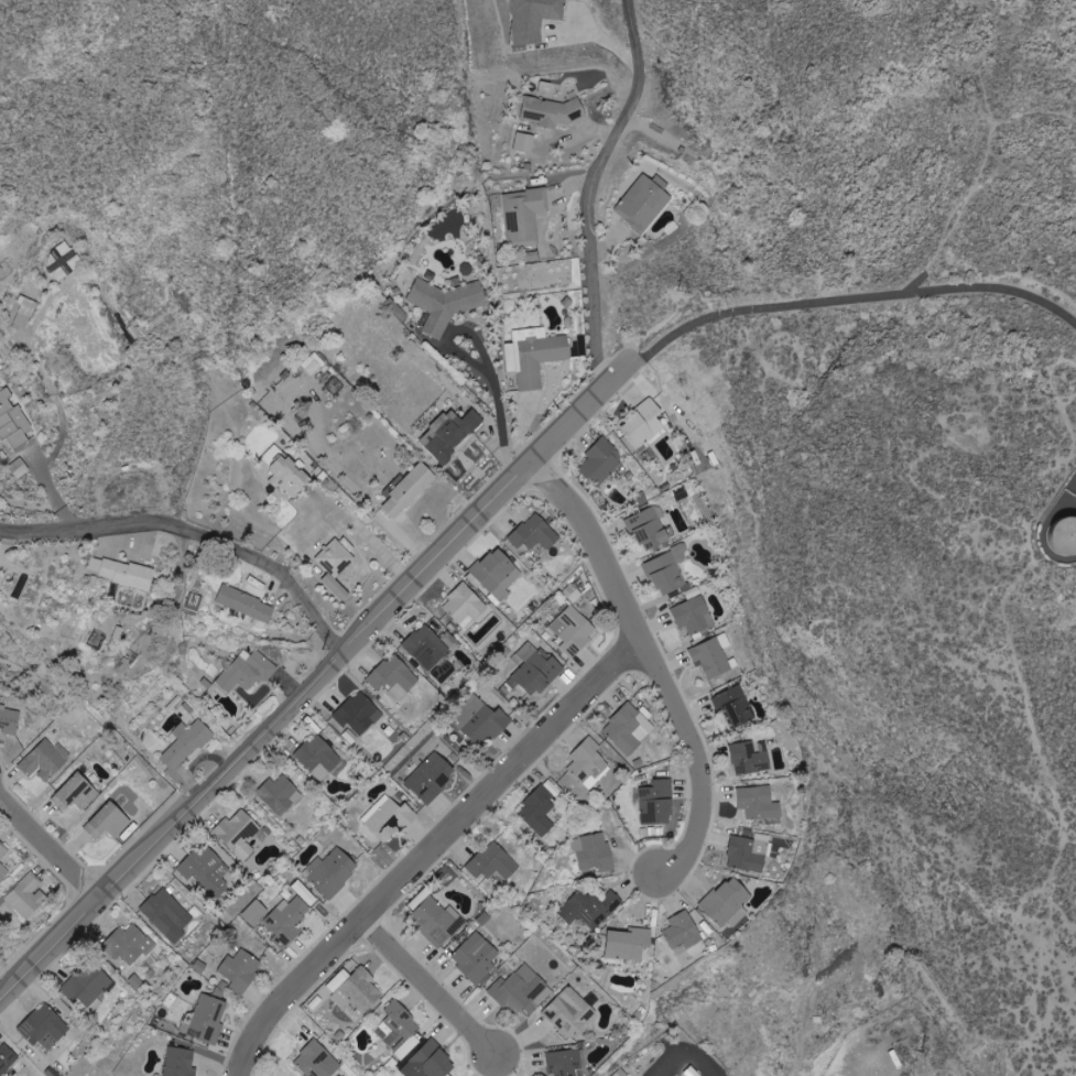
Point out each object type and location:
building: (535, 19)
building: (552, 111)
building: (525, 142)
road: (589, 187)
building: (644, 204)
building: (525, 216)
building: (532, 253)
building: (63, 261)
road: (854, 298)
building: (445, 303)
building: (24, 313)
building: (537, 355)
building: (314, 362)
road: (482, 365)
building: (13, 421)
building: (645, 423)
building: (450, 434)
building: (600, 463)
building: (20, 467)
building: (290, 476)
building: (410, 491)
road: (360, 528)
building: (650, 528)
road: (194, 531)
building: (535, 533)
building: (1044, 541)
storage tank: (1044, 541)
building: (336, 565)
building: (667, 568)
building: (124, 572)
building: (498, 574)
building: (26, 583)
building: (247, 604)
building: (195, 605)
building: (465, 605)
building: (694, 615)
building: (574, 631)
building: (428, 645)
building: (713, 656)
road: (653, 663)
building: (248, 671)
building: (444, 671)
building: (539, 671)
building: (394, 678)
road: (314, 680)
building: (735, 705)
building: (359, 714)
building: (10, 720)
building: (487, 724)
building: (628, 728)
building: (186, 746)
building: (318, 757)
building: (750, 758)
building: (44, 761)
building: (589, 762)
building: (432, 776)
building: (76, 793)
building: (280, 794)
building: (657, 802)
building: (760, 802)
building: (539, 811)
building: (389, 817)
building: (109, 822)
building: (239, 833)
road: (48, 849)
building: (2, 850)
road: (428, 850)
building: (594, 852)
building: (750, 852)
building: (493, 861)
building: (2, 871)
building: (207, 871)
building: (333, 871)
building: (306, 893)
building: (25, 896)
building: (728, 902)
building: (589, 907)
building: (256, 912)
building: (169, 914)
building: (287, 920)
building: (439, 921)
building: (683, 932)
building: (629, 943)
building: (130, 944)
building: (476, 956)
building: (241, 969)
building: (339, 979)
road: (430, 986)
building: (89, 988)
building: (521, 990)
building: (360, 991)
building: (570, 1012)
building: (209, 1018)
building: (44, 1028)
building: (400, 1030)
building: (7, 1059)
building: (317, 1061)
building: (181, 1062)
building: (431, 1062)
building: (567, 1062)
building: (693, 1072)
building: (620, 1073)

